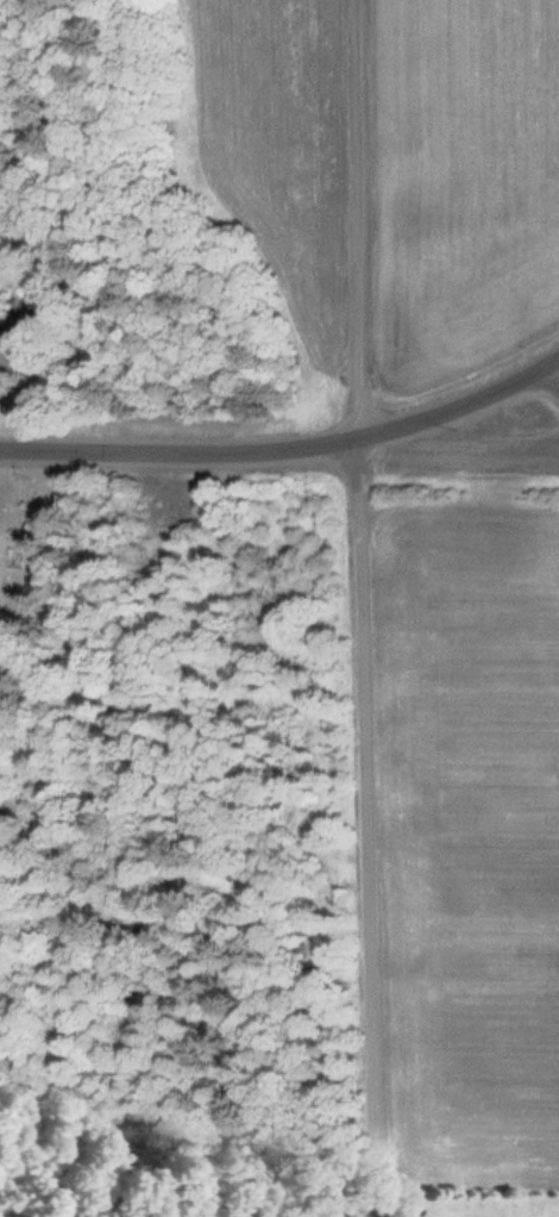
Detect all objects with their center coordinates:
road: (353, 220)
building: (18, 326)
road: (557, 366)
road: (557, 370)
road: (284, 453)
road: (368, 829)

